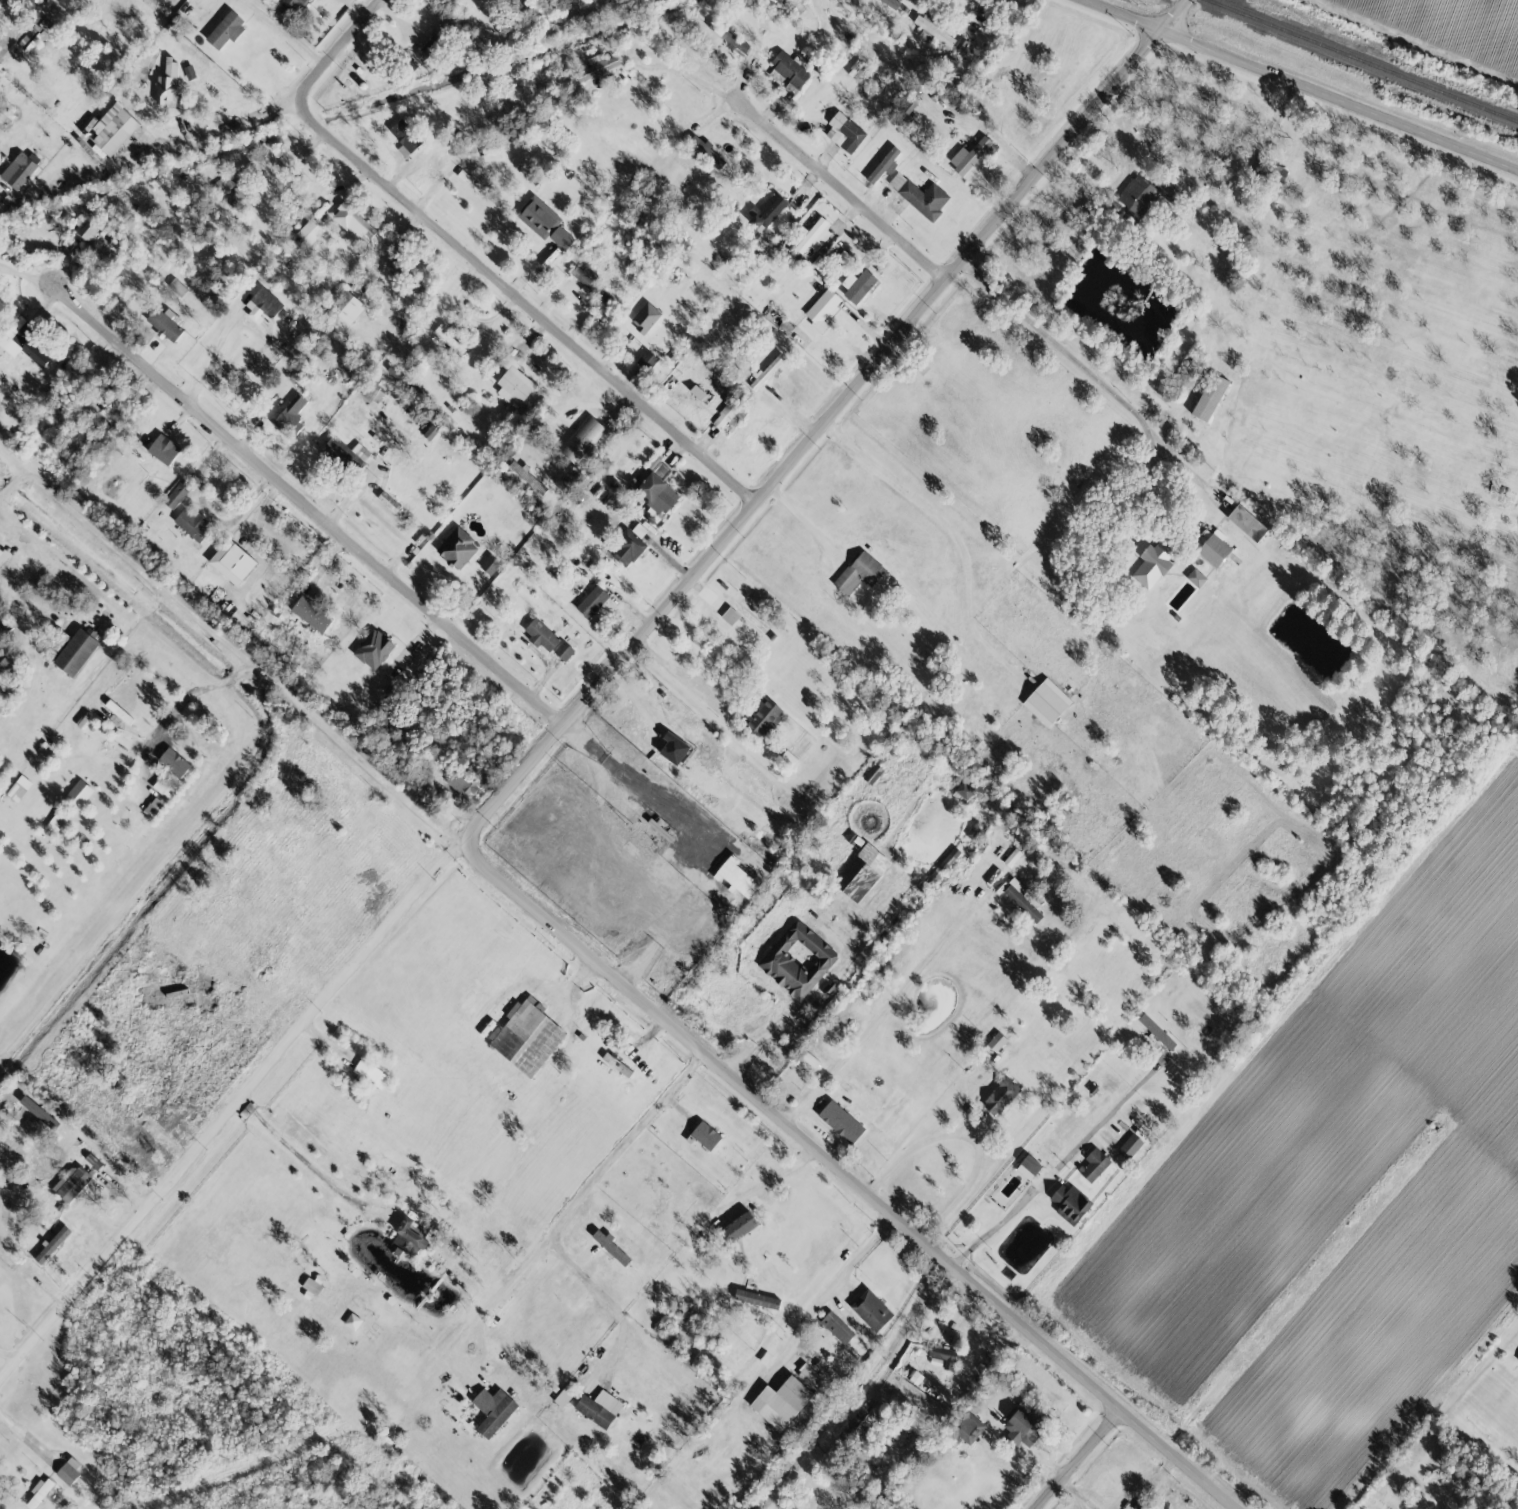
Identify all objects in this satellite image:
building: (289, 6)
road: (1125, 14)
building: (931, 29)
building: (226, 30)
road: (291, 36)
building: (729, 38)
building: (430, 46)
railway: (1363, 60)
building: (596, 66)
road: (682, 70)
building: (189, 72)
building: (787, 72)
building: (167, 83)
road: (1338, 100)
building: (113, 128)
building: (844, 132)
road: (218, 137)
building: (405, 137)
road: (1137, 143)
building: (705, 151)
building: (491, 153)
building: (968, 155)
building: (884, 165)
building: (18, 169)
building: (470, 181)
building: (222, 183)
road: (842, 186)
road: (1106, 189)
building: (241, 193)
building: (1137, 195)
building: (920, 196)
building: (766, 210)
building: (538, 217)
building: (356, 221)
building: (86, 230)
building: (309, 232)
building: (812, 236)
building: (113, 237)
building: (561, 237)
road: (474, 256)
building: (843, 258)
building: (590, 283)
building: (857, 285)
building: (177, 287)
building: (262, 305)
building: (821, 309)
building: (344, 311)
building: (645, 317)
building: (165, 322)
building: (449, 340)
building: (25, 344)
road: (213, 353)
building: (646, 360)
road: (246, 368)
building: (766, 371)
building: (1187, 373)
road: (1094, 382)
building: (514, 387)
building: (372, 389)
building: (1209, 397)
building: (728, 414)
building: (290, 417)
building: (581, 439)
building: (161, 451)
building: (342, 455)
building: (656, 487)
building: (176, 494)
road: (314, 502)
building: (388, 502)
building: (1246, 523)
building: (192, 524)
road: (803, 526)
road: (953, 535)
building: (456, 548)
building: (626, 548)
building: (1213, 550)
building: (2, 555)
building: (232, 561)
building: (1153, 563)
building: (490, 564)
building: (858, 573)
building: (1195, 577)
building: (591, 601)
road: (180, 602)
building: (1, 614)
building: (311, 614)
building: (729, 615)
building: (540, 634)
building: (374, 649)
building: (77, 651)
building: (563, 651)
building: (6, 668)
road: (202, 688)
road: (592, 697)
building: (1046, 702)
building: (118, 711)
road: (708, 711)
building: (761, 718)
building: (674, 736)
building: (173, 762)
building: (872, 773)
building: (462, 782)
road: (638, 789)
building: (963, 792)
building: (78, 793)
building: (54, 822)
building: (861, 872)
building: (737, 877)
building: (1021, 899)
building: (797, 960)
road: (799, 1004)
road: (876, 1016)
building: (1156, 1031)
building: (526, 1036)
building: (996, 1041)
building: (616, 1064)
building: (370, 1073)
building: (1000, 1096)
road: (249, 1106)
road: (252, 1111)
building: (840, 1122)
building: (705, 1135)
road: (970, 1135)
building: (1129, 1146)
building: (1030, 1164)
building: (1094, 1165)
road: (1054, 1167)
road: (313, 1170)
road: (847, 1178)
road: (776, 1182)
building: (71, 1183)
building: (1069, 1203)
road: (566, 1214)
building: (738, 1227)
building: (408, 1236)
building: (52, 1244)
building: (610, 1247)
road: (837, 1280)
building: (326, 1292)
building: (756, 1299)
road: (605, 1304)
building: (871, 1310)
building: (836, 1327)
road: (911, 1327)
building: (943, 1355)
building: (1517, 1359)
road: (11, 1361)
building: (810, 1376)
building: (913, 1376)
building: (563, 1396)
building: (781, 1402)
building: (599, 1408)
building: (493, 1410)
building: (856, 1421)
building: (966, 1427)
building: (1020, 1428)
road: (29, 1440)
road: (1086, 1463)
building: (68, 1472)
building: (39, 1491)

